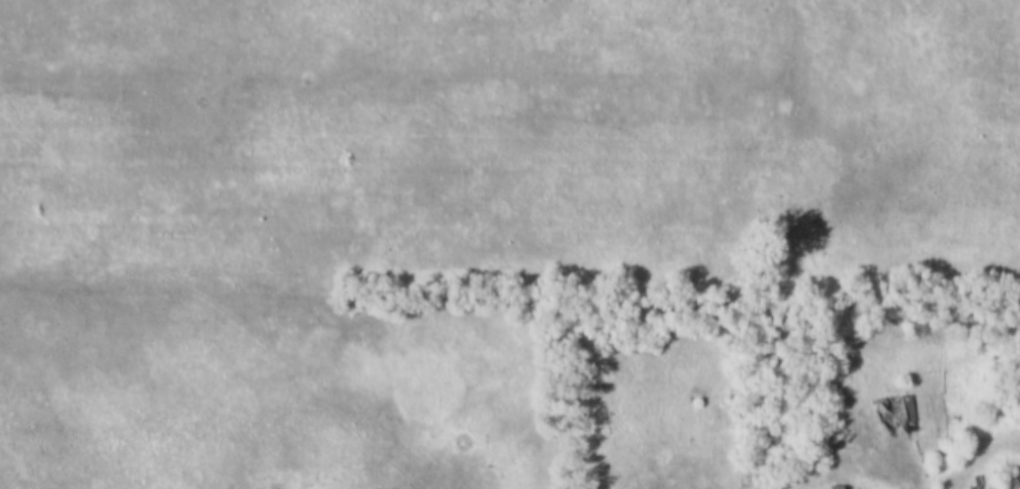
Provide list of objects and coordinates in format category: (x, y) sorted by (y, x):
building: (892, 412)
building: (1010, 488)

